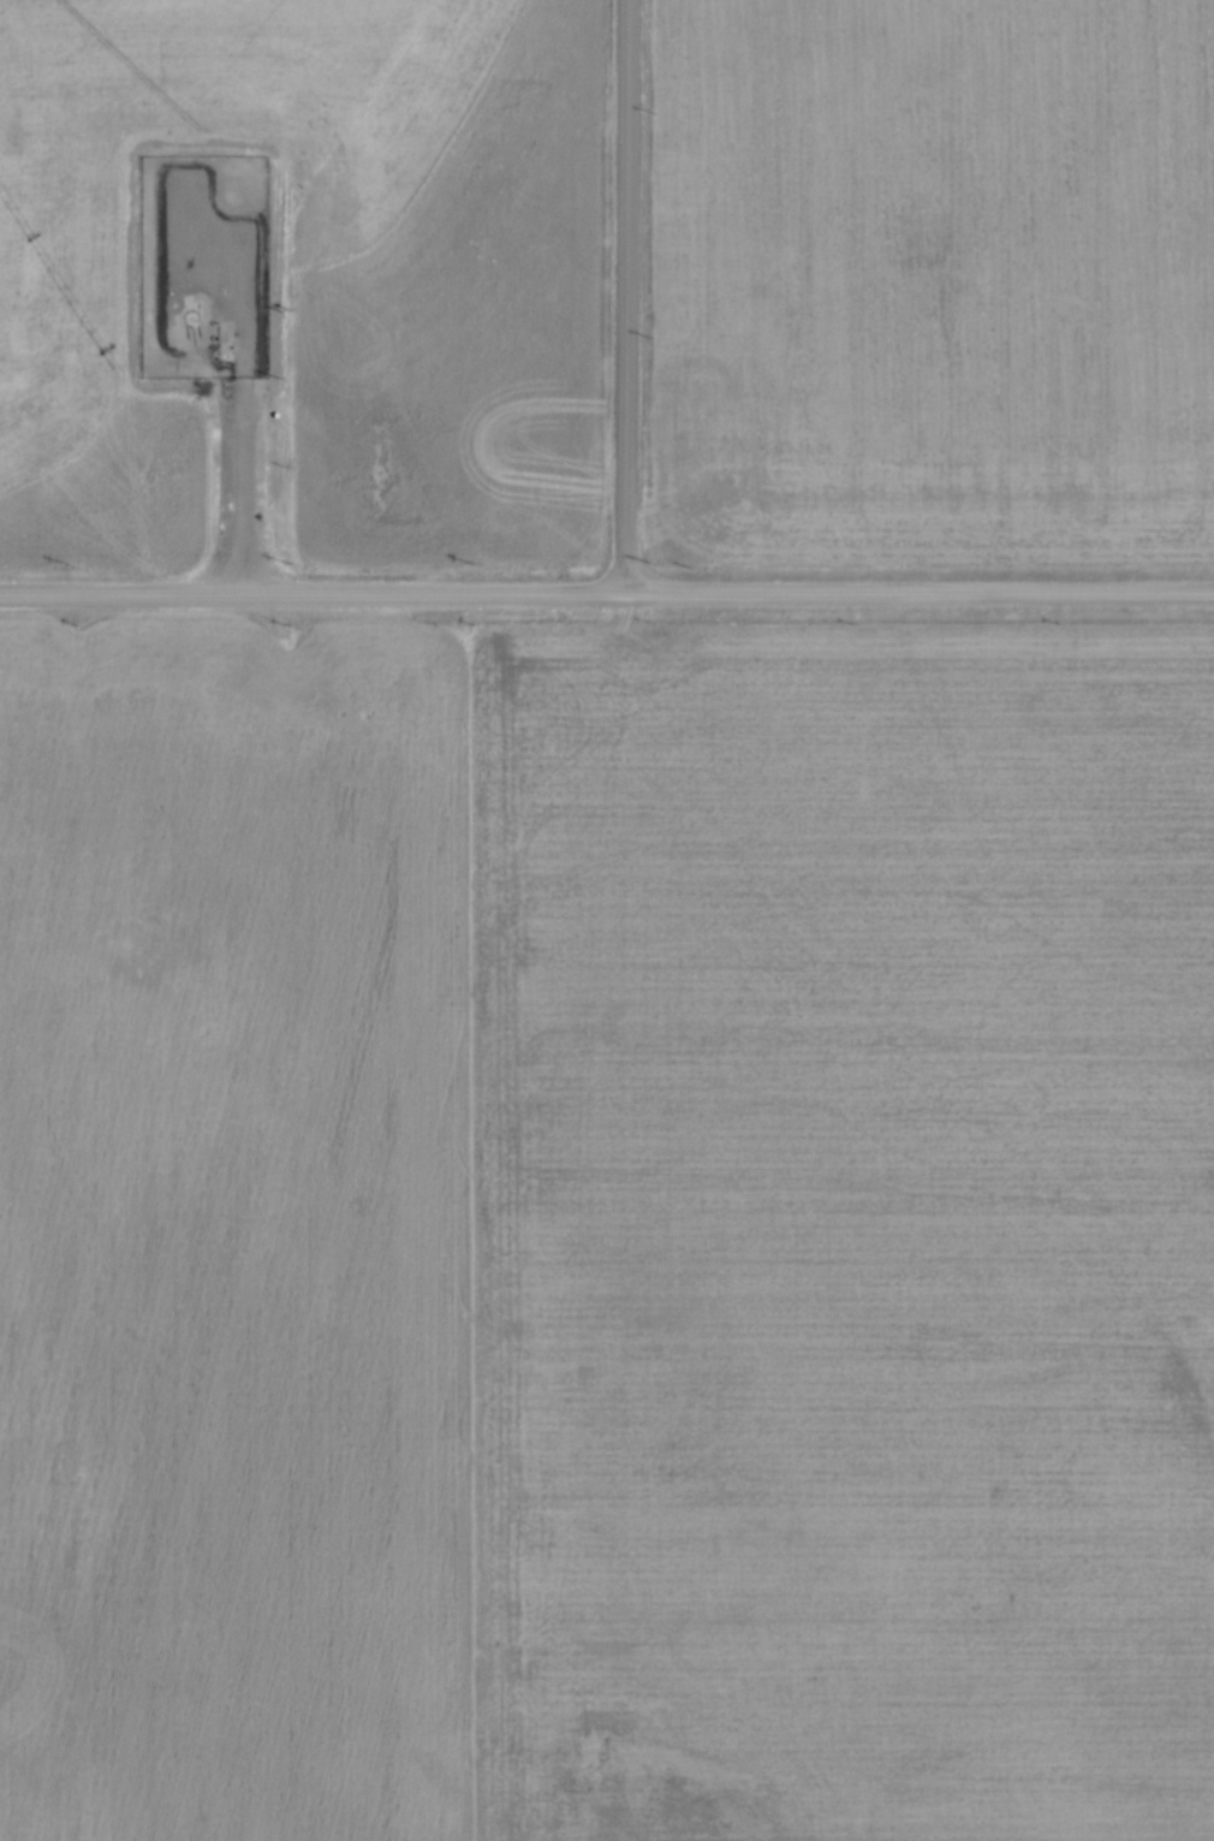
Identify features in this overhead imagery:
crop: (432, 249)
crop: (933, 275)
road: (627, 297)
crop: (87, 428)
road: (231, 455)
road: (920, 592)
road: (313, 594)
crop: (606, 1229)

